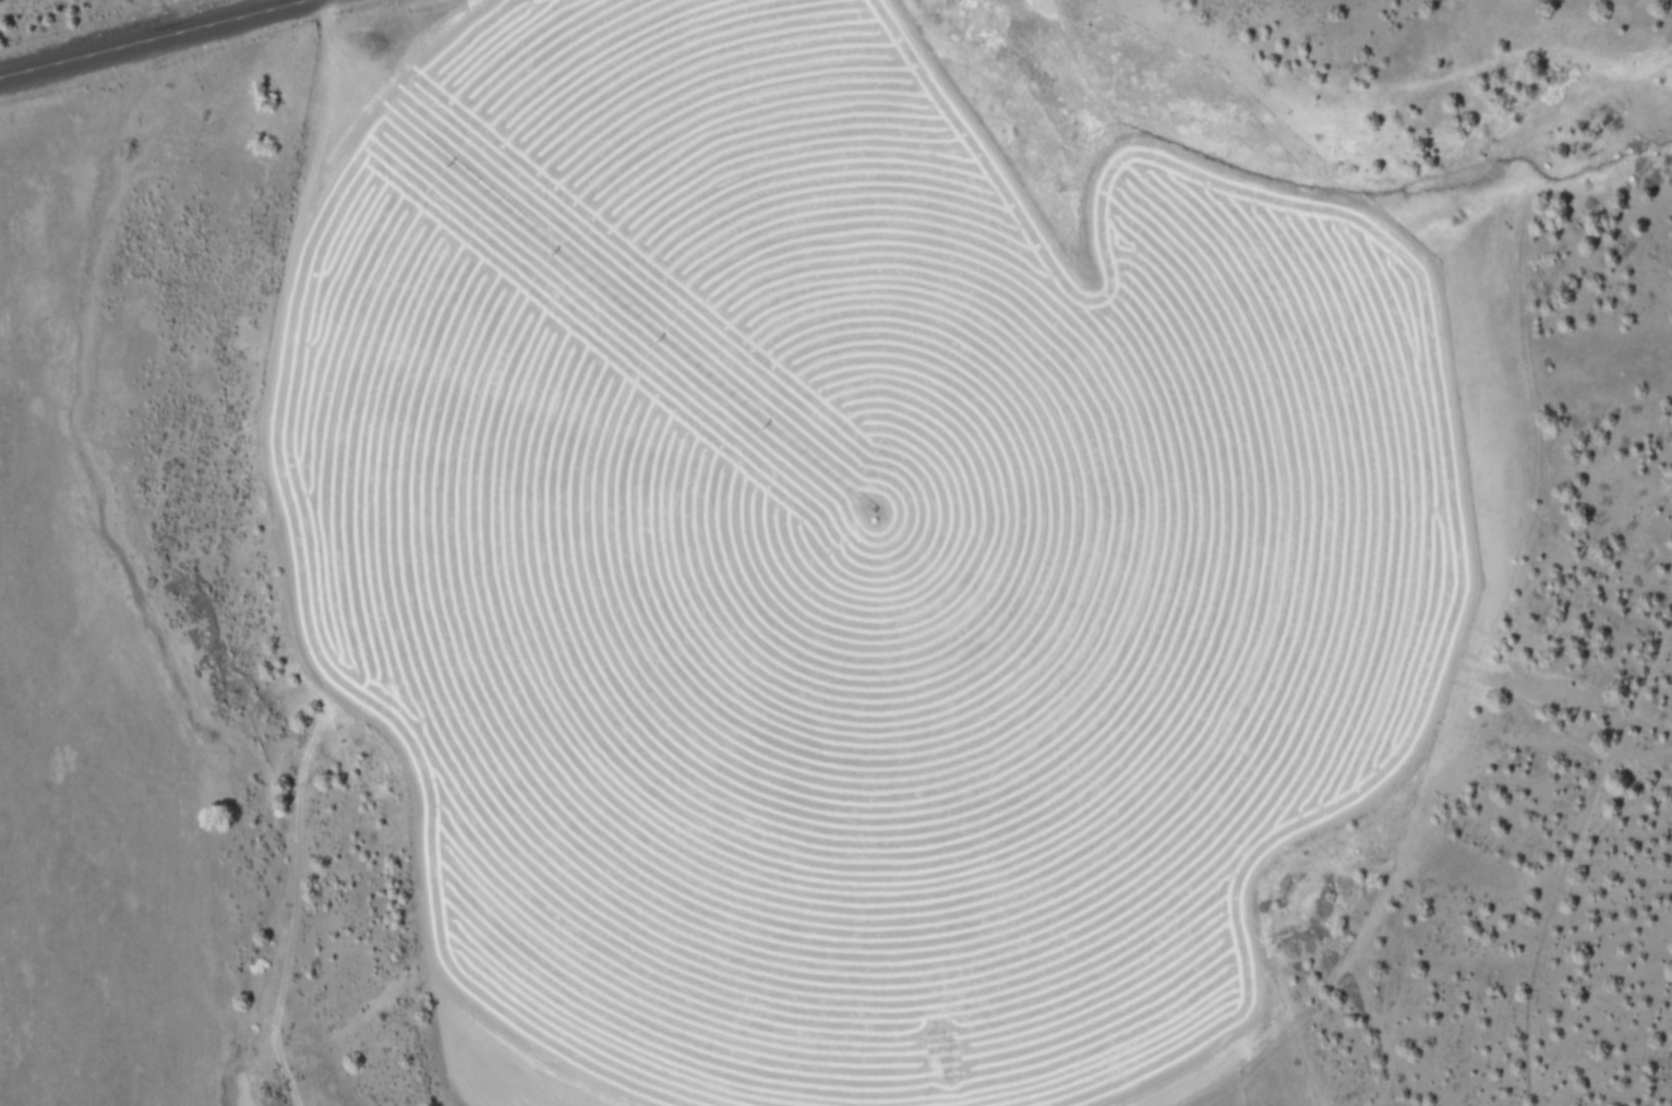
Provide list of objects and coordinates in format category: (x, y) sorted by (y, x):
road: (155, 39)
crop: (852, 545)

